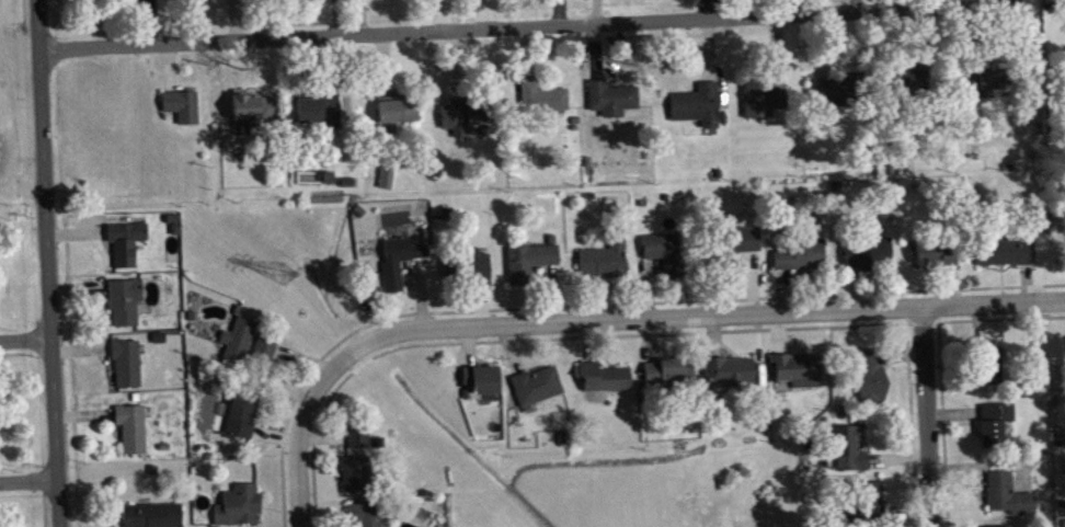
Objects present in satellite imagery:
road: (522, 26)
building: (986, 83)
building: (913, 84)
building: (841, 94)
building: (546, 101)
building: (615, 102)
building: (765, 102)
road: (12, 104)
building: (700, 108)
building: (184, 110)
building: (256, 113)
building: (400, 113)
building: (323, 114)
building: (467, 117)
building: (389, 181)
building: (745, 243)
building: (128, 245)
building: (666, 255)
building: (930, 255)
building: (1008, 255)
building: (871, 256)
building: (802, 259)
road: (47, 263)
building: (606, 263)
building: (401, 264)
building: (531, 264)
building: (480, 272)
power tower: (293, 277)
building: (127, 305)
road: (656, 321)
road: (25, 339)
building: (241, 343)
building: (992, 366)
building: (129, 367)
building: (800, 373)
building: (732, 374)
building: (667, 376)
building: (873, 380)
building: (607, 381)
building: (484, 382)
building: (540, 389)
road: (929, 419)
building: (244, 420)
building: (998, 428)
building: (135, 432)
building: (362, 440)
building: (851, 451)
building: (359, 478)
road: (28, 480)
road: (299, 480)
building: (1010, 499)
building: (872, 502)
building: (242, 508)
building: (156, 517)
building: (367, 517)

